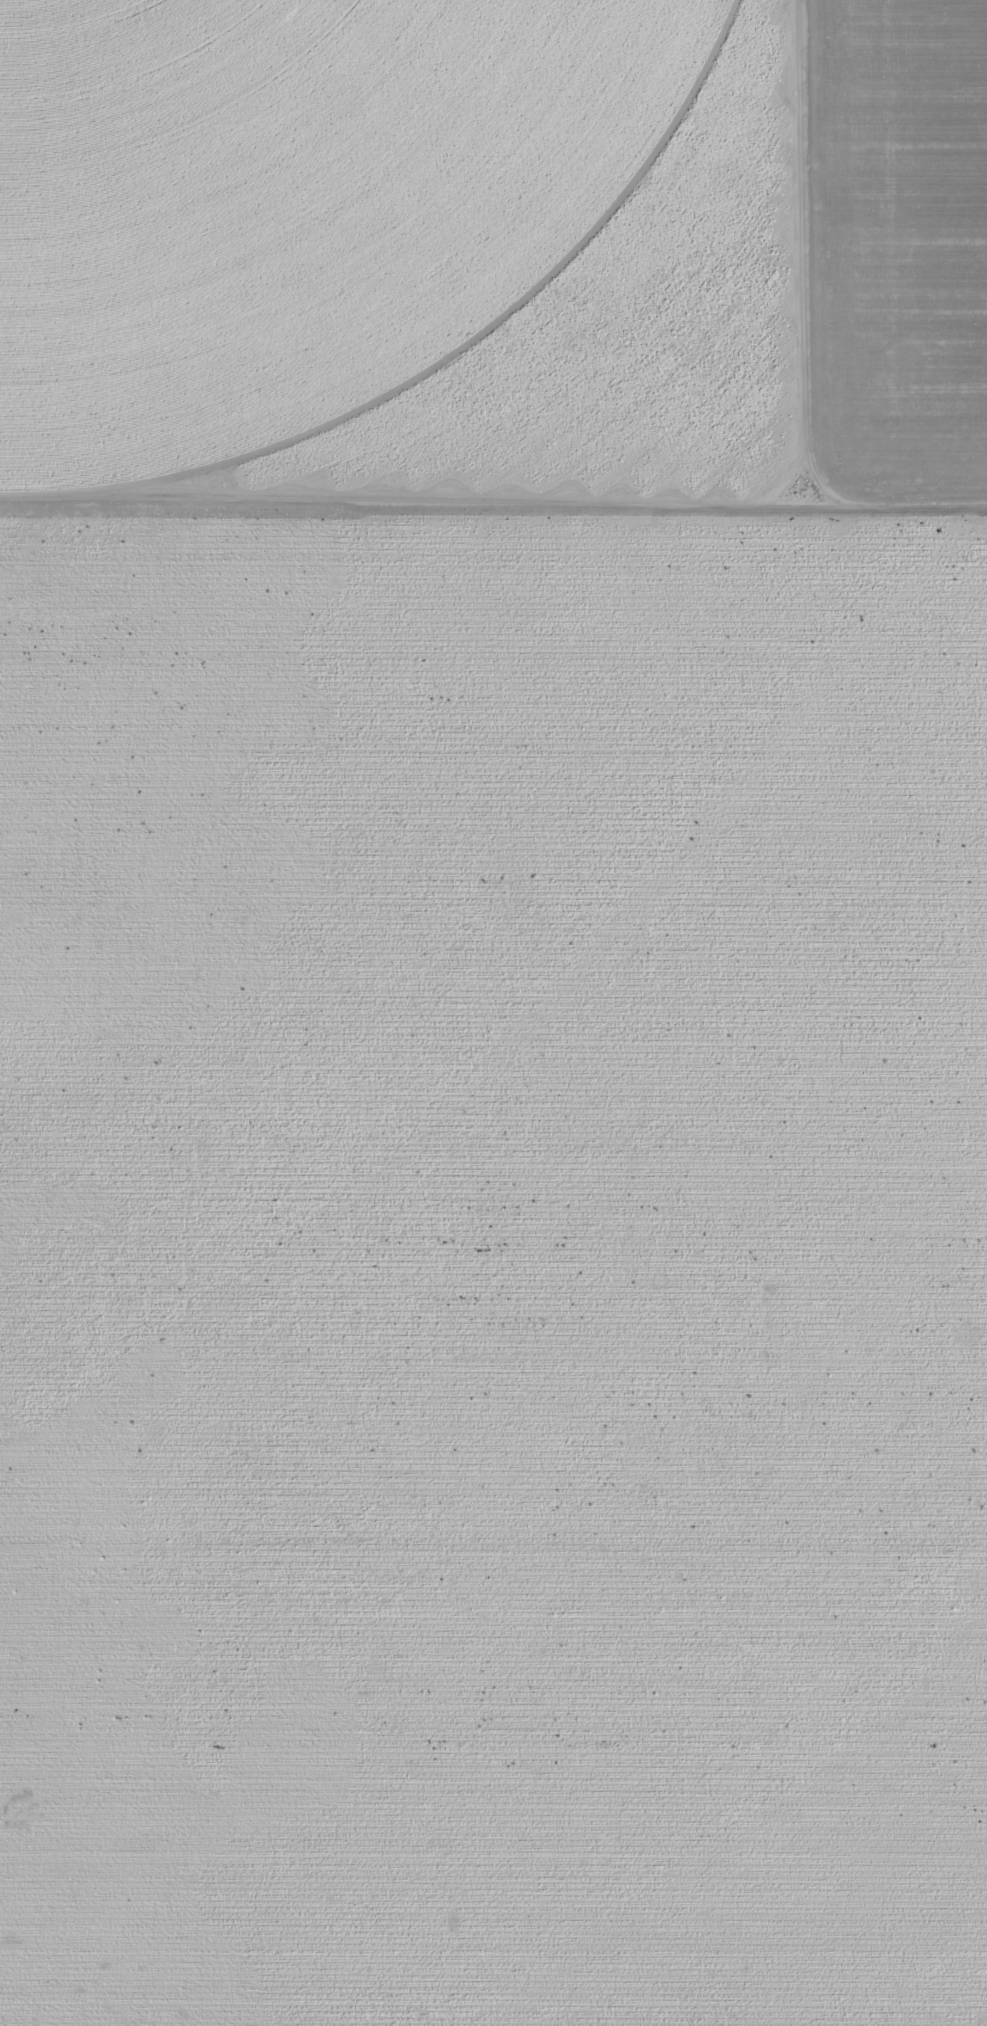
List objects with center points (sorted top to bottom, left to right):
road: (814, 163)

